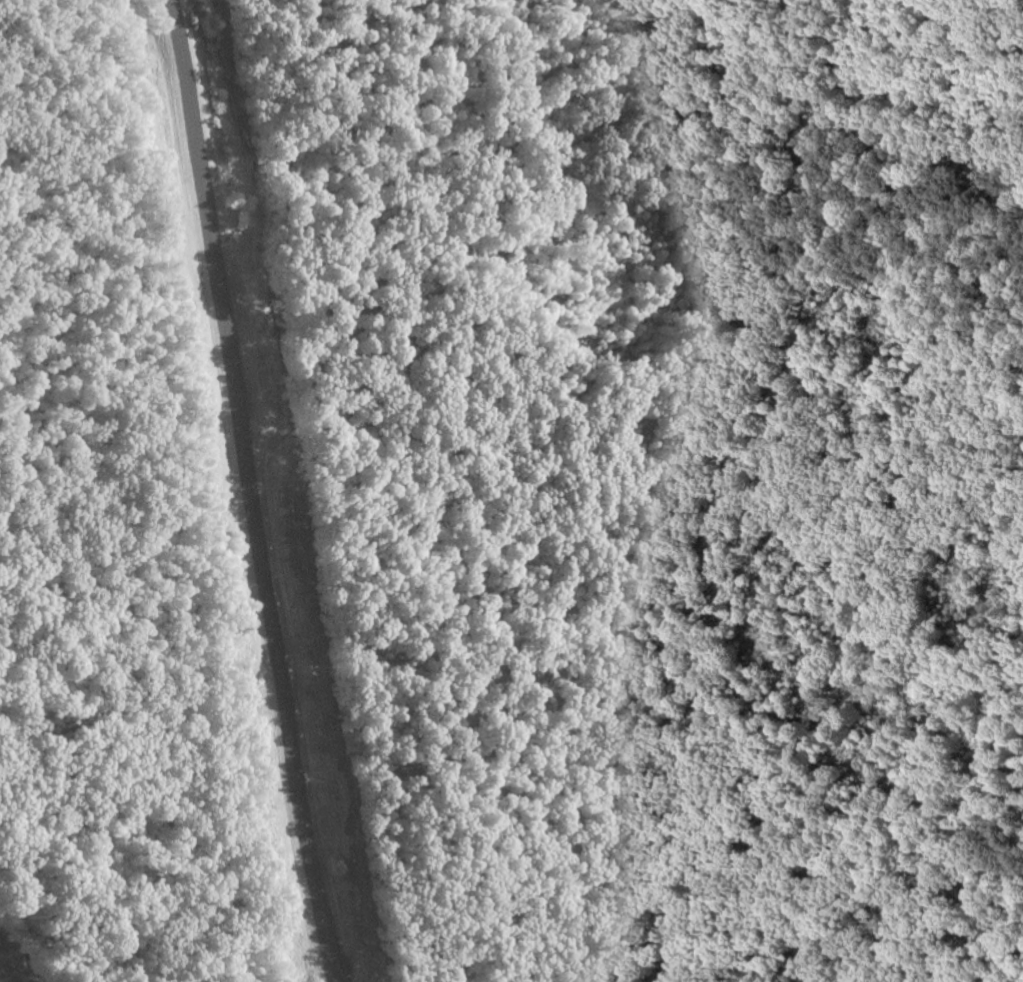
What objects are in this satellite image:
road: (252, 491)

